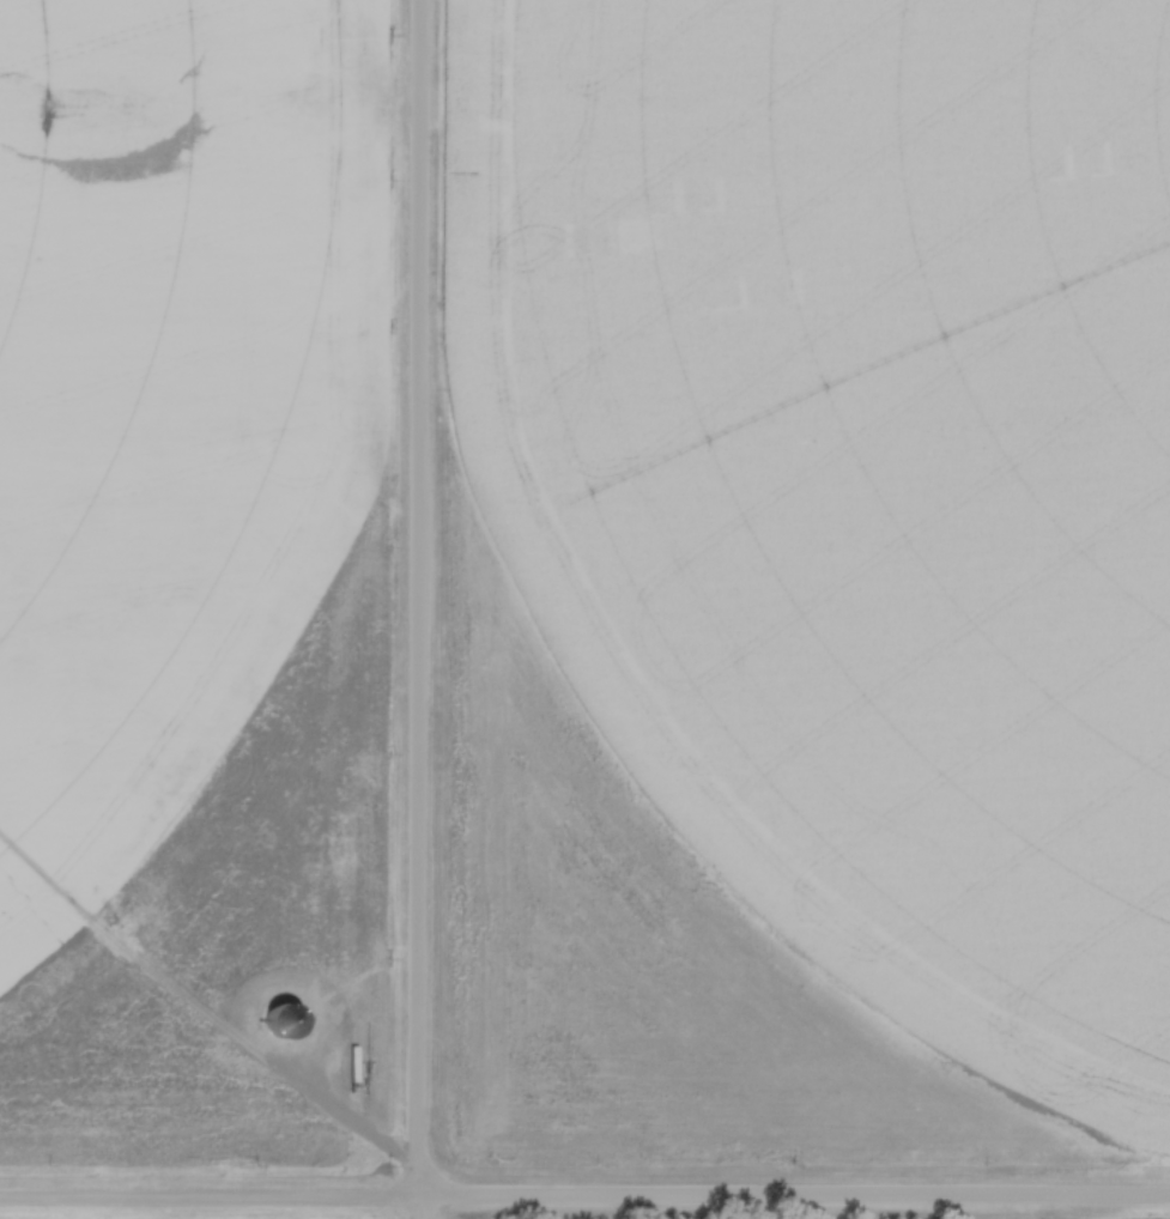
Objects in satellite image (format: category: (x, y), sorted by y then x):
road: (419, 609)
road: (584, 1203)

